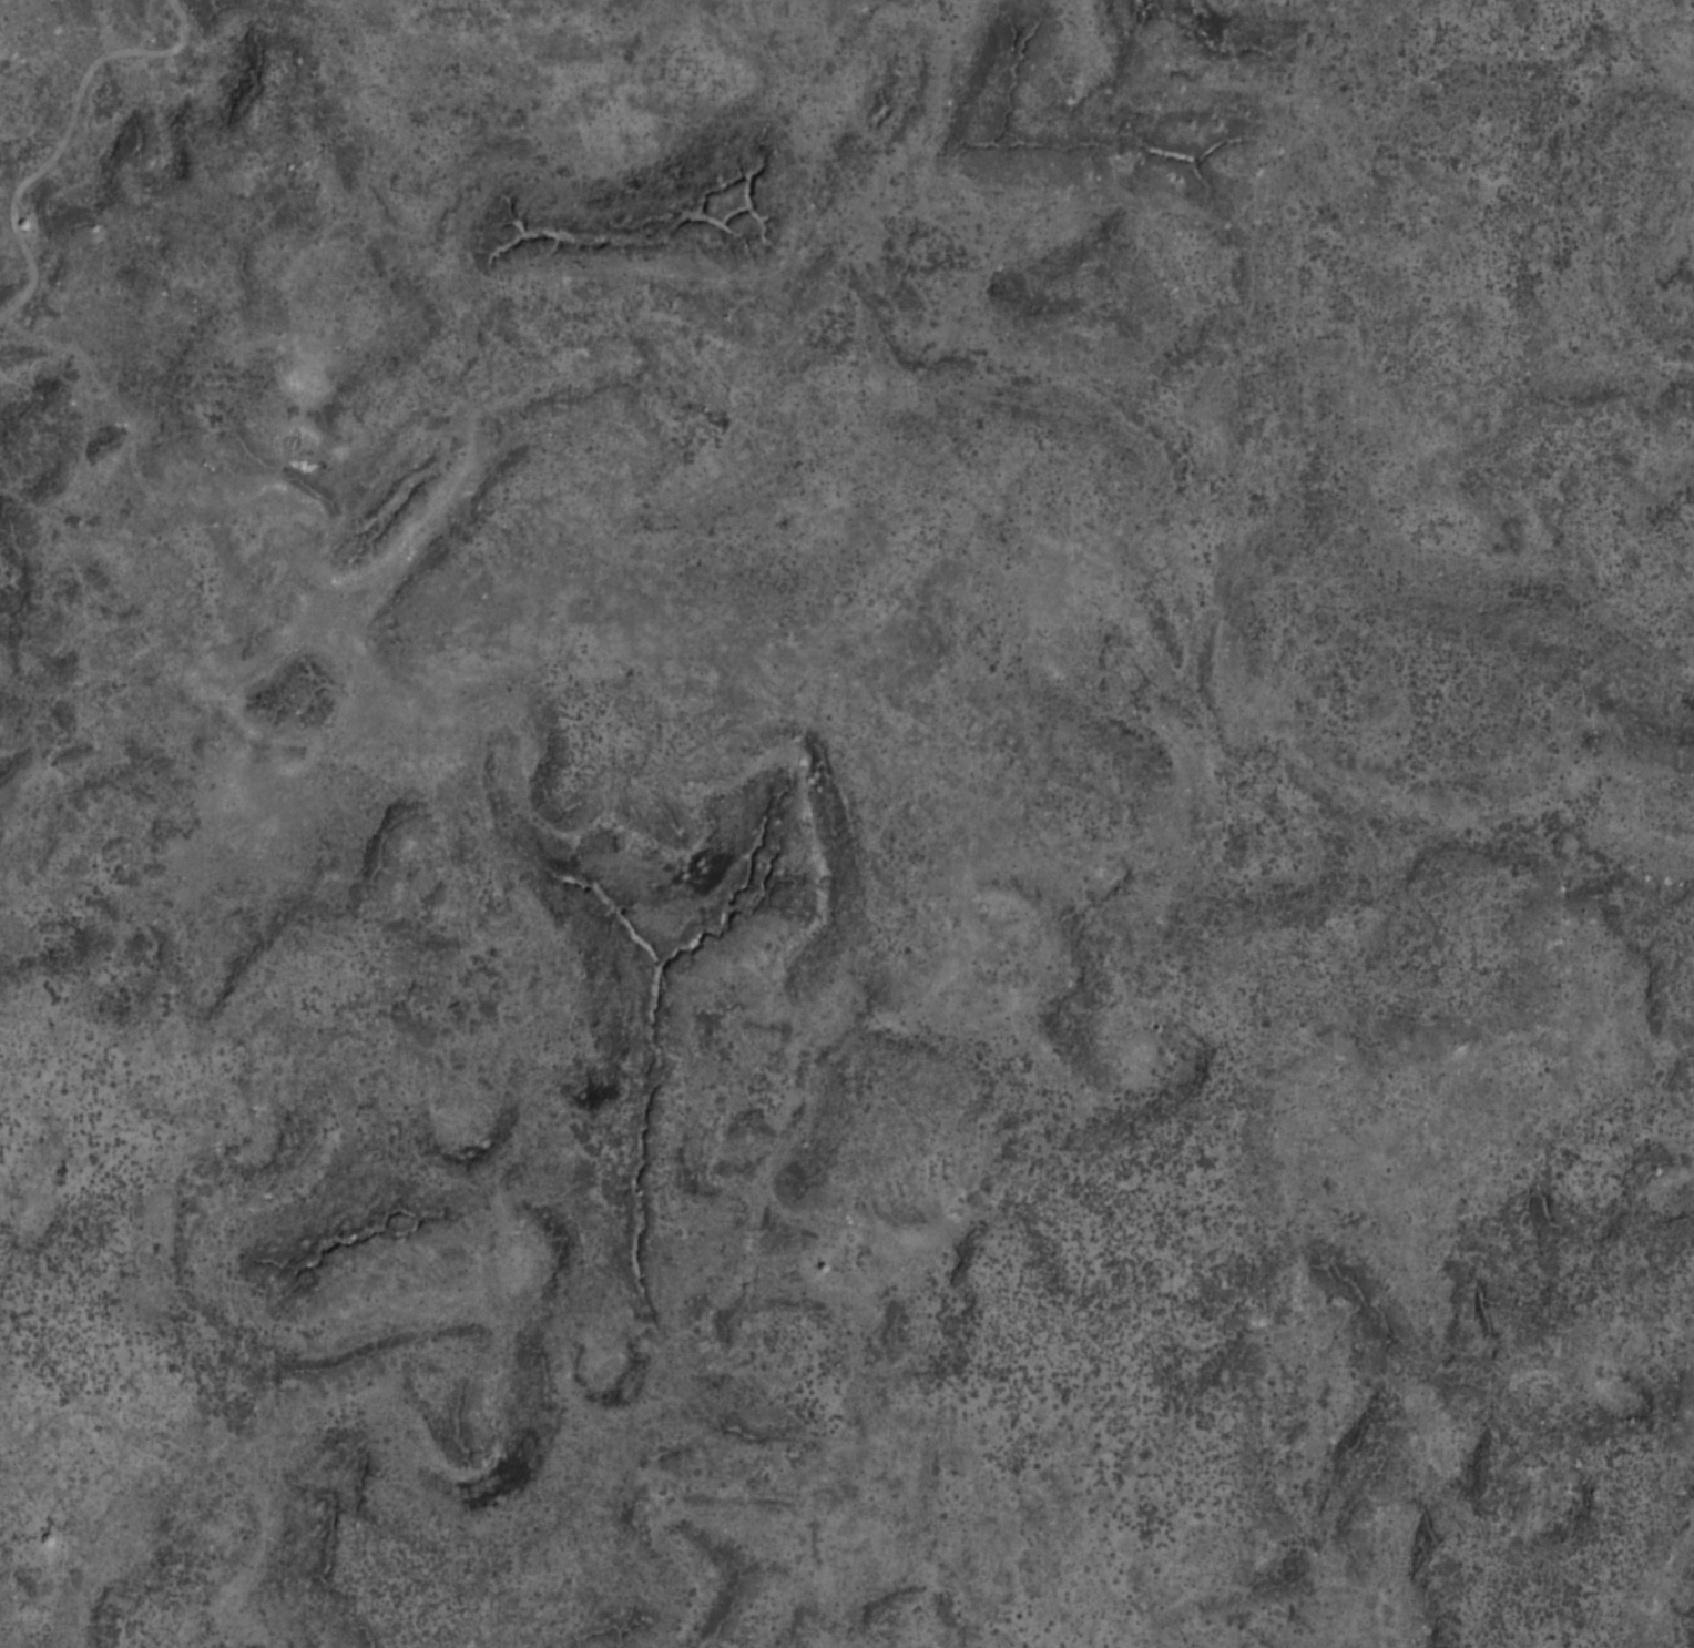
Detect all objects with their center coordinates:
road: (65, 136)

